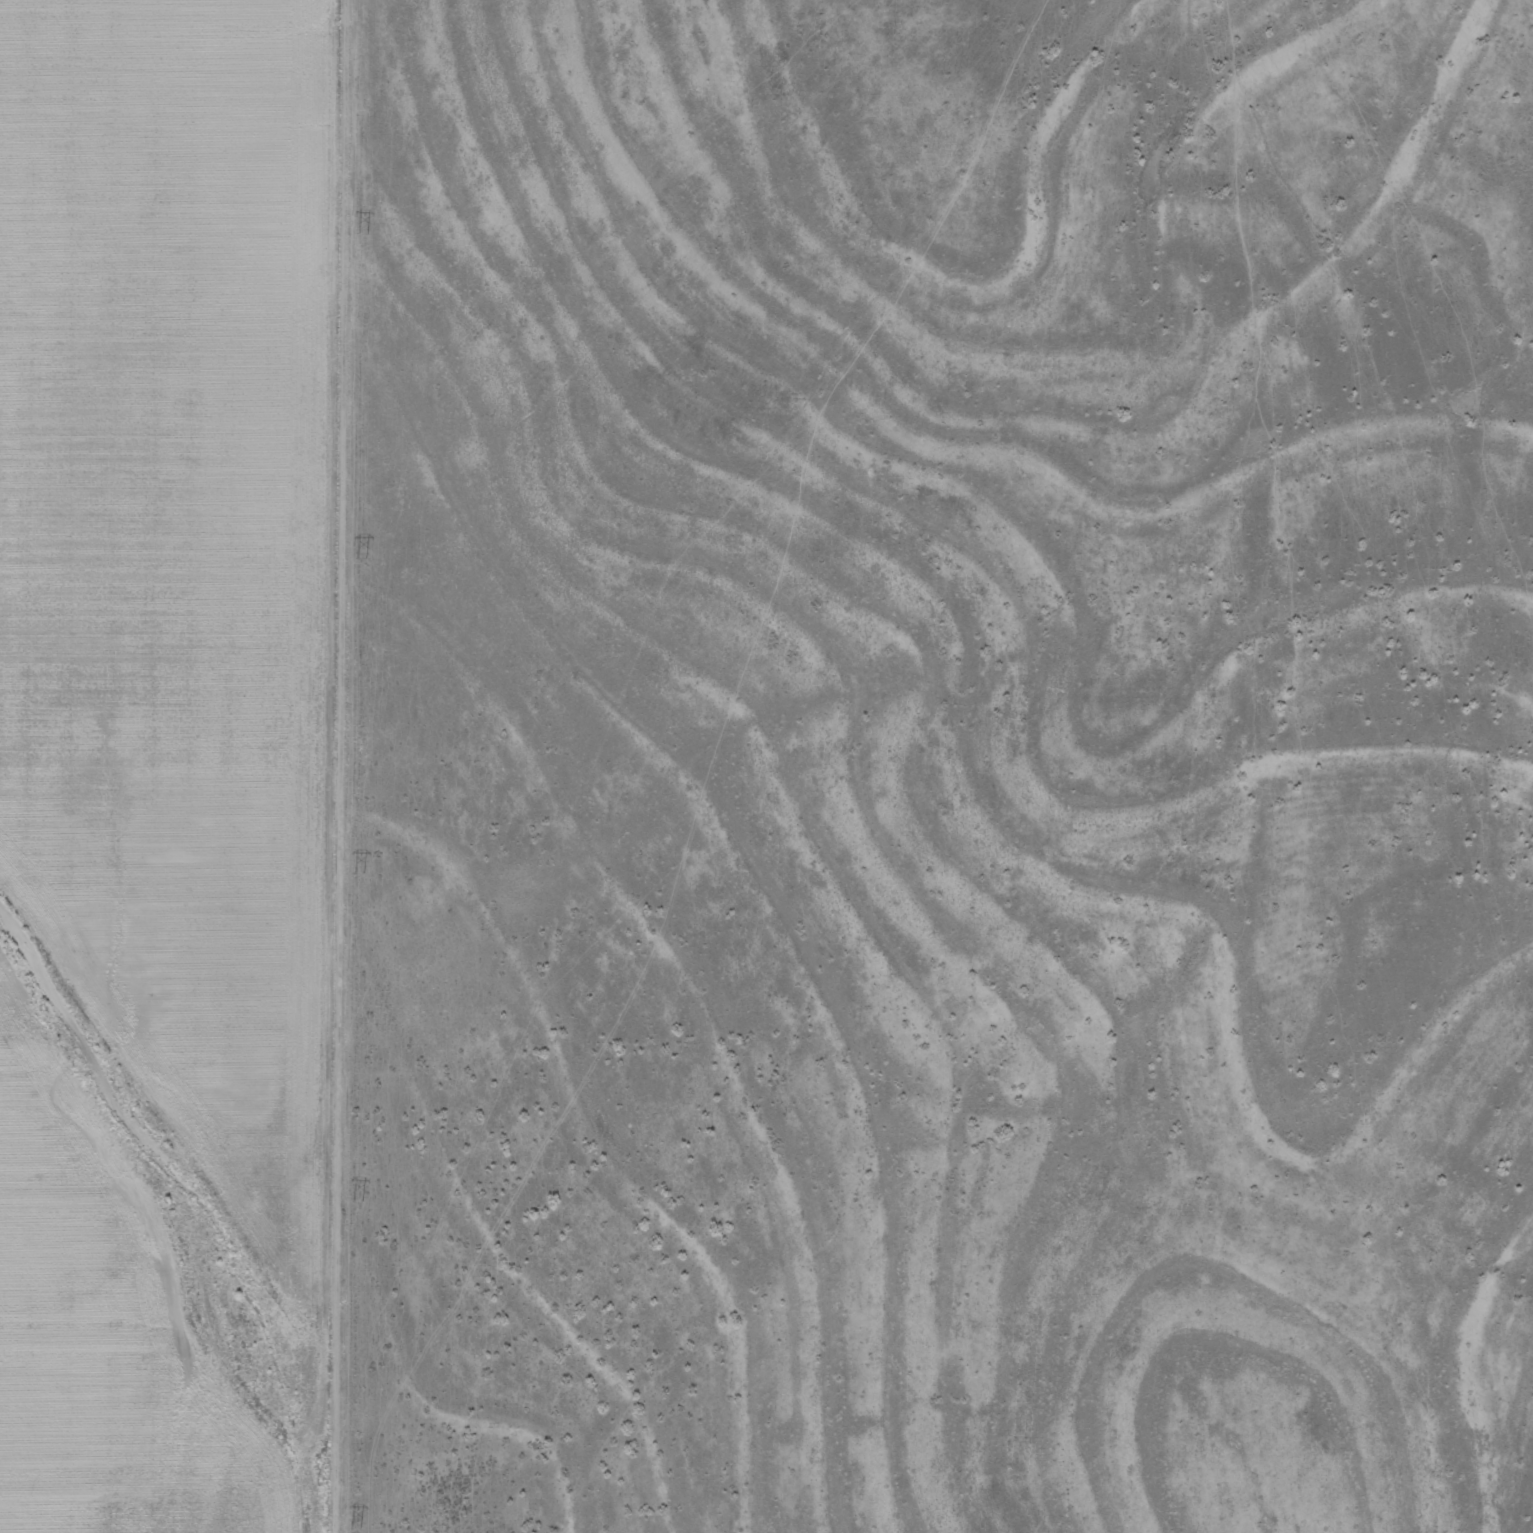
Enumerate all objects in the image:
power tower: (362, 236)
power tower: (360, 560)
power tower: (359, 874)
power tower: (357, 1201)
power tower: (356, 1527)

